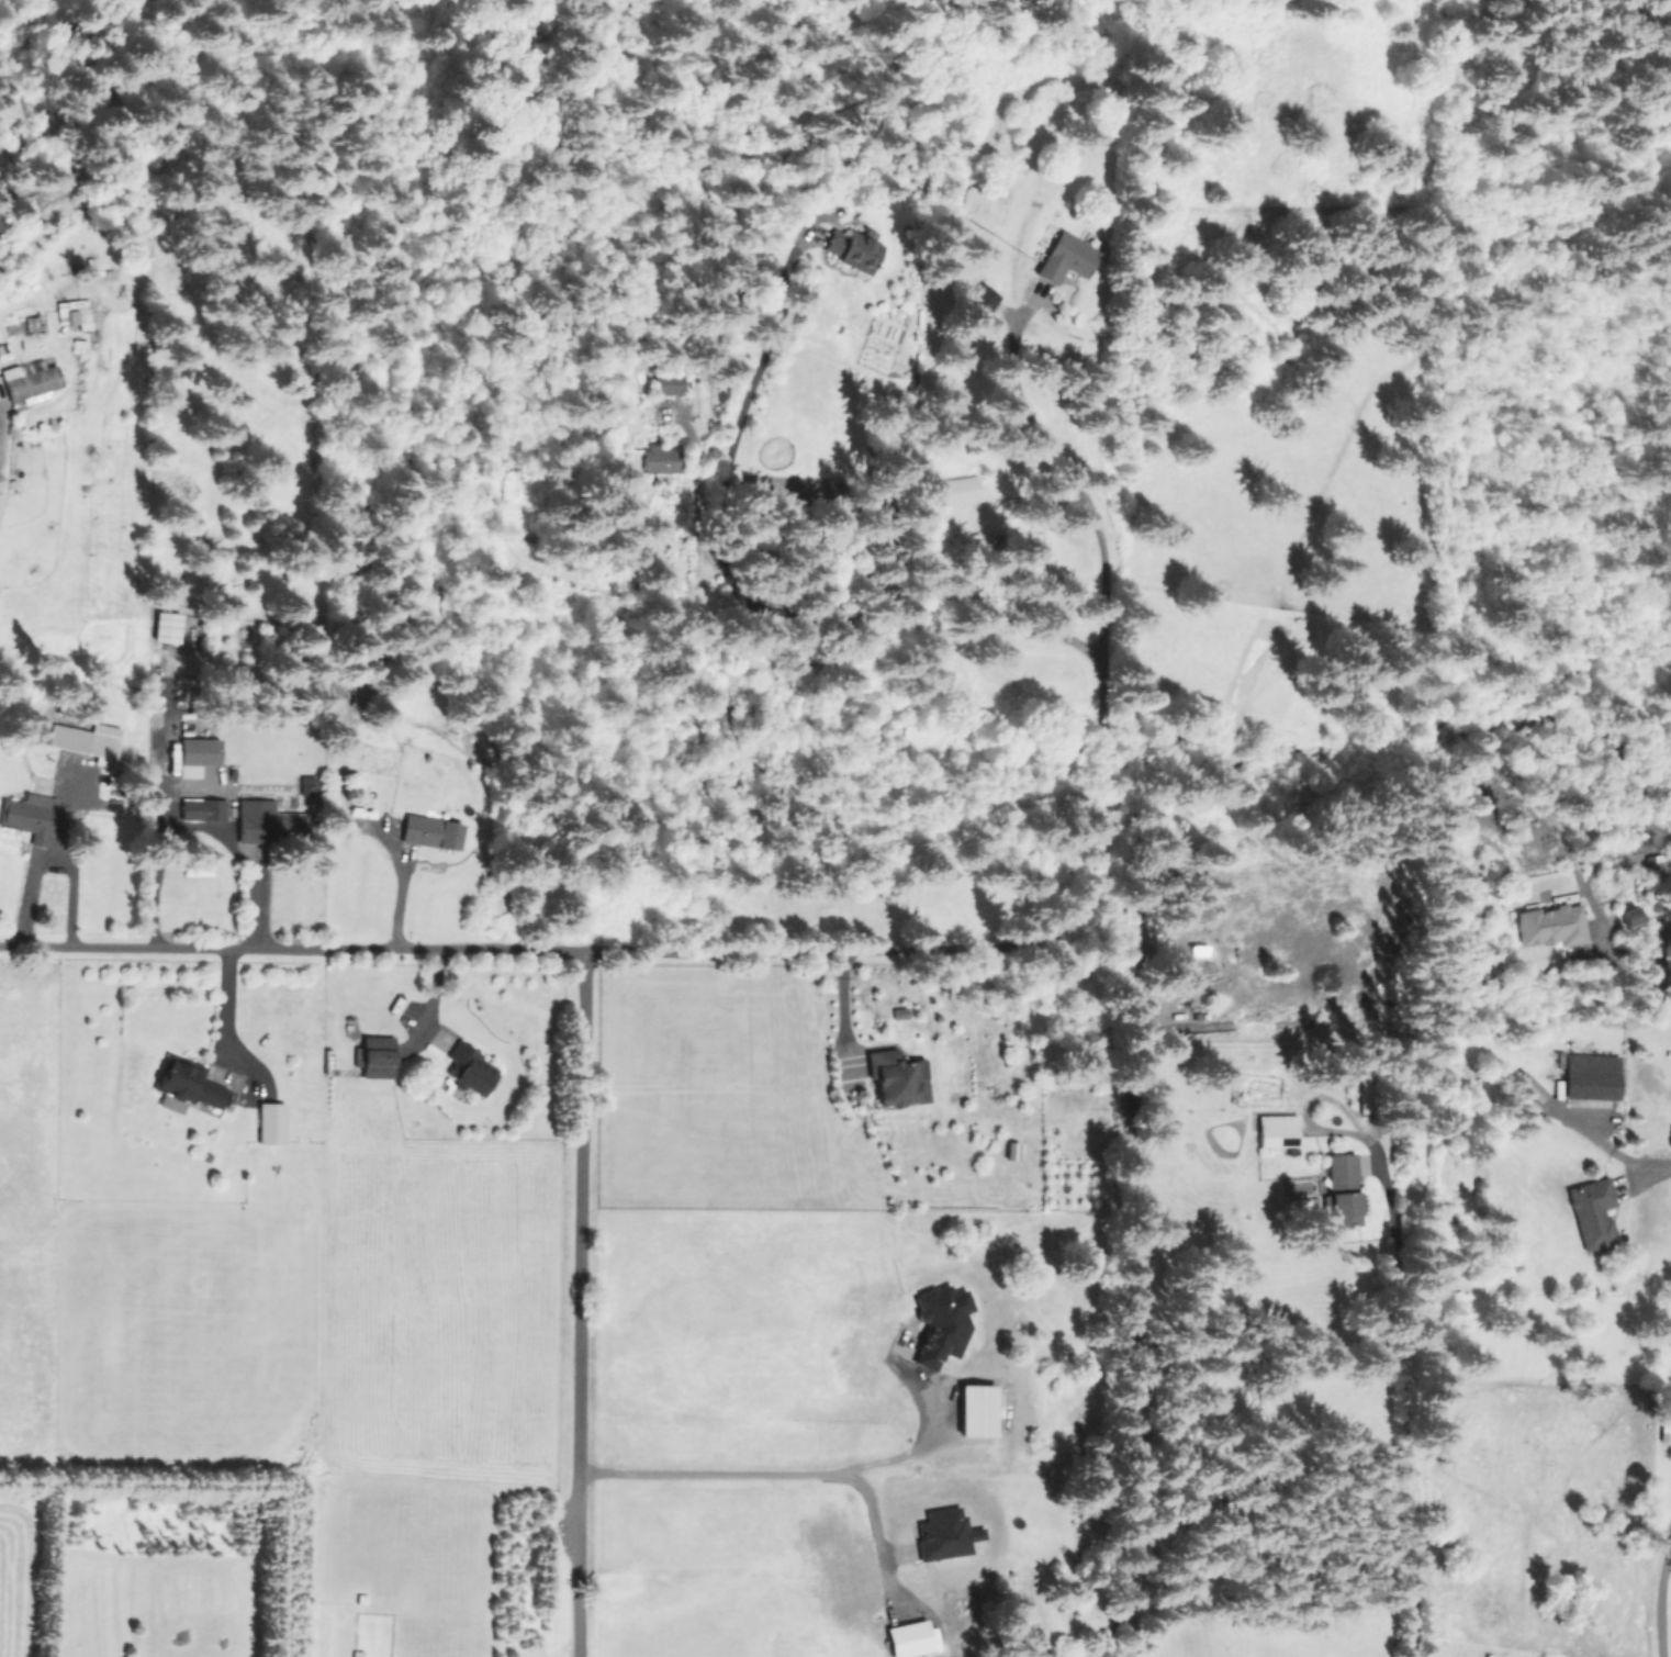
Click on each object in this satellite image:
building: (854, 249)
building: (1066, 257)
building: (985, 295)
building: (71, 313)
road: (756, 368)
building: (29, 381)
building: (668, 383)
building: (660, 459)
road: (1070, 480)
building: (958, 490)
road: (844, 623)
building: (166, 627)
building: (86, 739)
building: (195, 755)
road: (1102, 795)
building: (205, 809)
building: (29, 816)
building: (265, 821)
road: (198, 826)
building: (430, 831)
road: (396, 903)
building: (1549, 926)
road: (532, 949)
road: (1645, 971)
road: (841, 1012)
road: (231, 1021)
building: (374, 1056)
building: (467, 1068)
building: (896, 1077)
building: (186, 1086)
building: (1528, 1086)
building: (269, 1123)
building: (1275, 1130)
road: (1583, 1131)
road: (1639, 1161)
building: (1342, 1189)
building: (1592, 1212)
road: (575, 1302)
road: (1398, 1409)
building: (975, 1410)
road: (924, 1445)
road: (820, 1474)
road: (1658, 1594)
building: (907, 1638)

